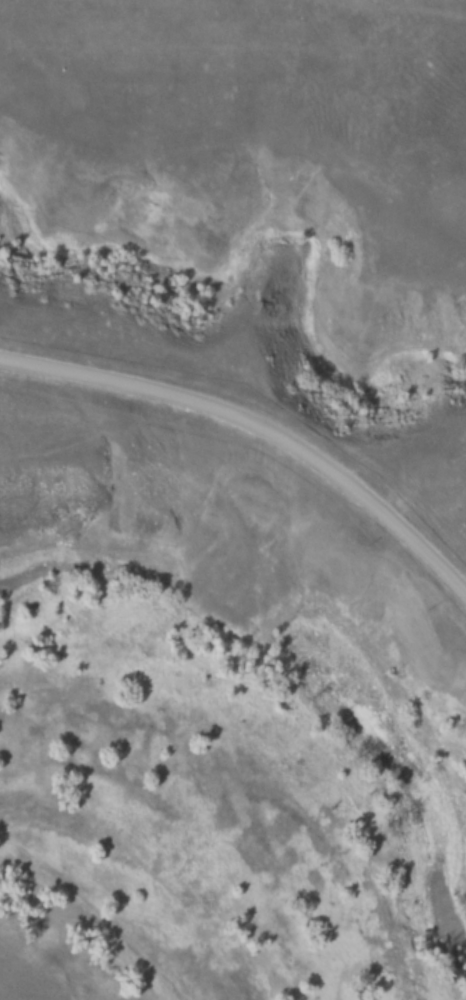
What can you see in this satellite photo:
road: (261, 424)

